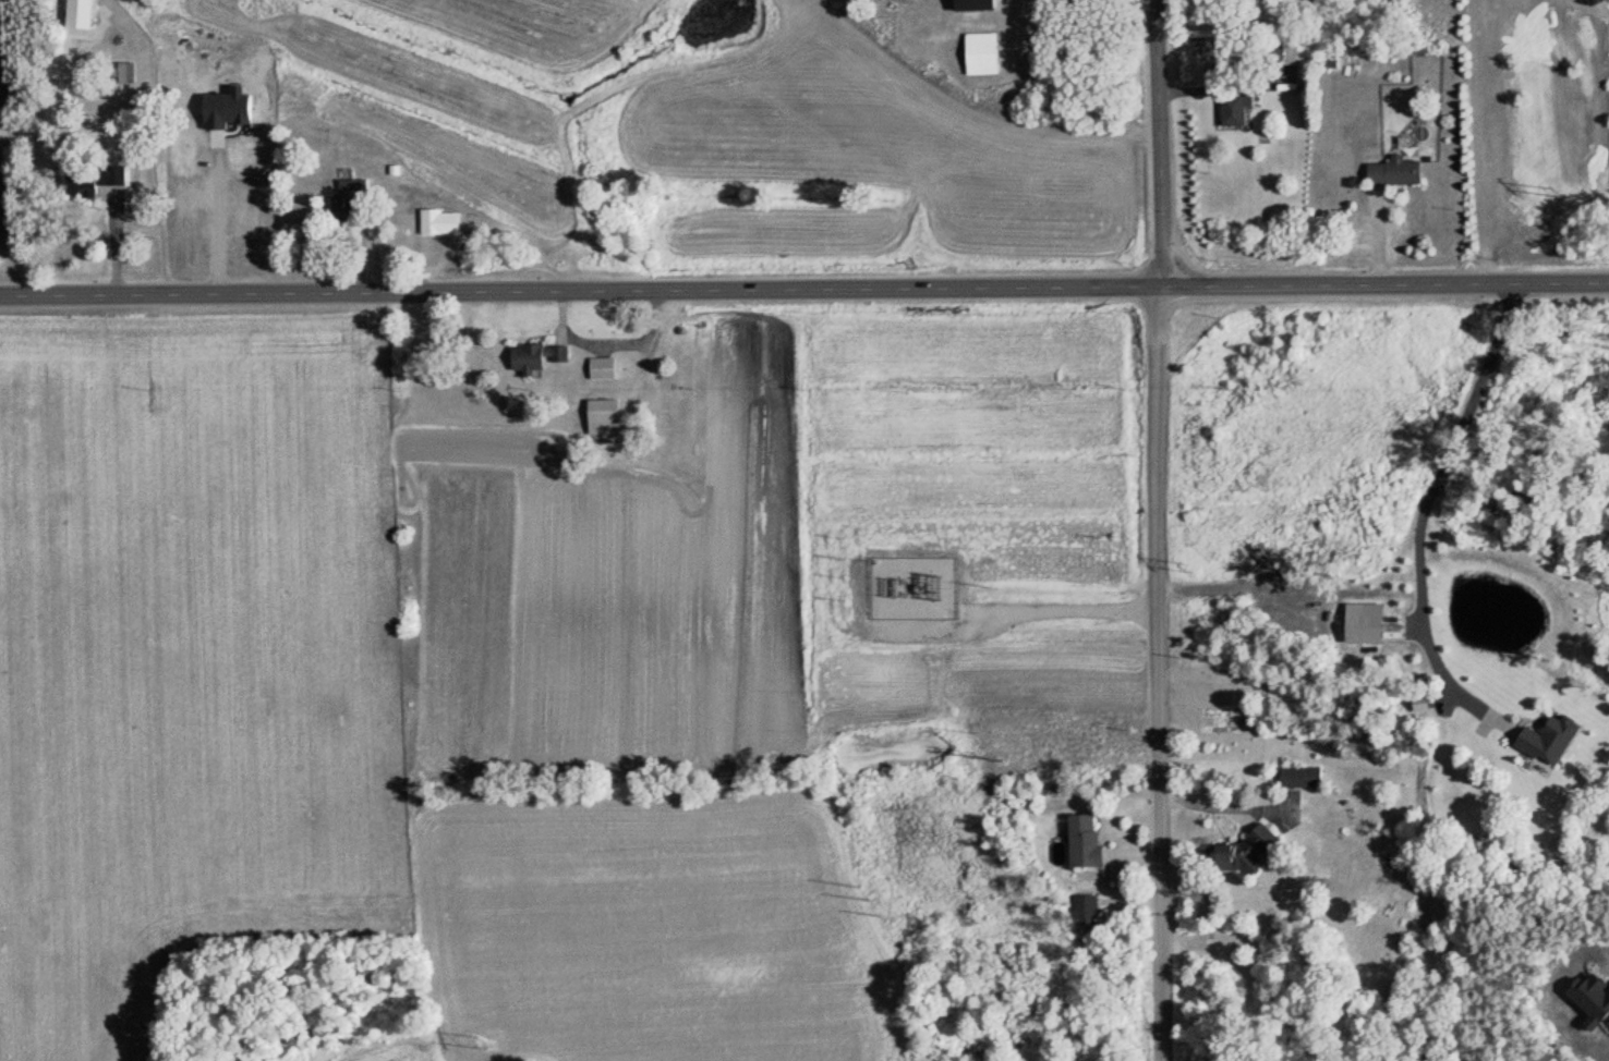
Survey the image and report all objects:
building: (77, 5)
building: (980, 54)
building: (123, 73)
building: (1234, 111)
building: (1394, 172)
building: (92, 180)
power tower: (1557, 191)
building: (347, 199)
road: (213, 217)
building: (439, 223)
road: (803, 290)
building: (540, 357)
building: (603, 368)
building: (603, 417)
road: (1423, 501)
road: (1158, 529)
power tower: (1189, 568)
power substation: (916, 590)
road: (978, 617)
road: (1014, 619)
power tower: (1003, 760)
building: (1300, 777)
building: (1084, 842)
building: (1239, 851)
power tower: (868, 894)
building: (1085, 910)
power tower: (475, 1038)

